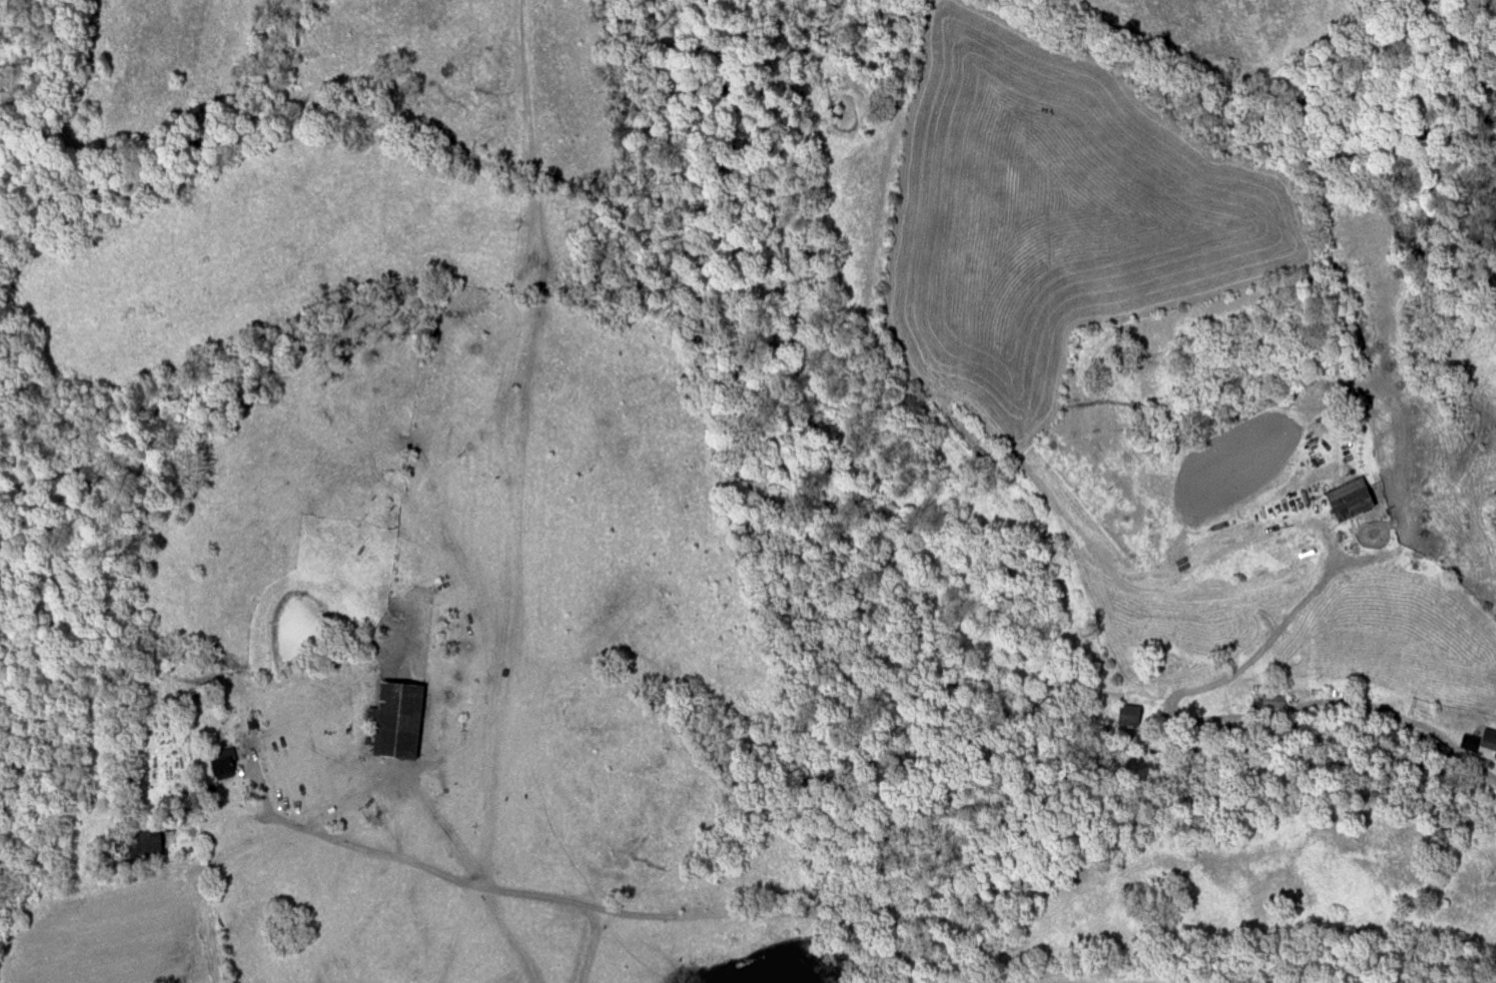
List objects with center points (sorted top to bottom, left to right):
building: (1355, 500)
road: (1282, 629)
building: (1135, 718)
building: (403, 721)
building: (1482, 744)
building: (226, 769)
road: (658, 916)
road: (1235, 950)

